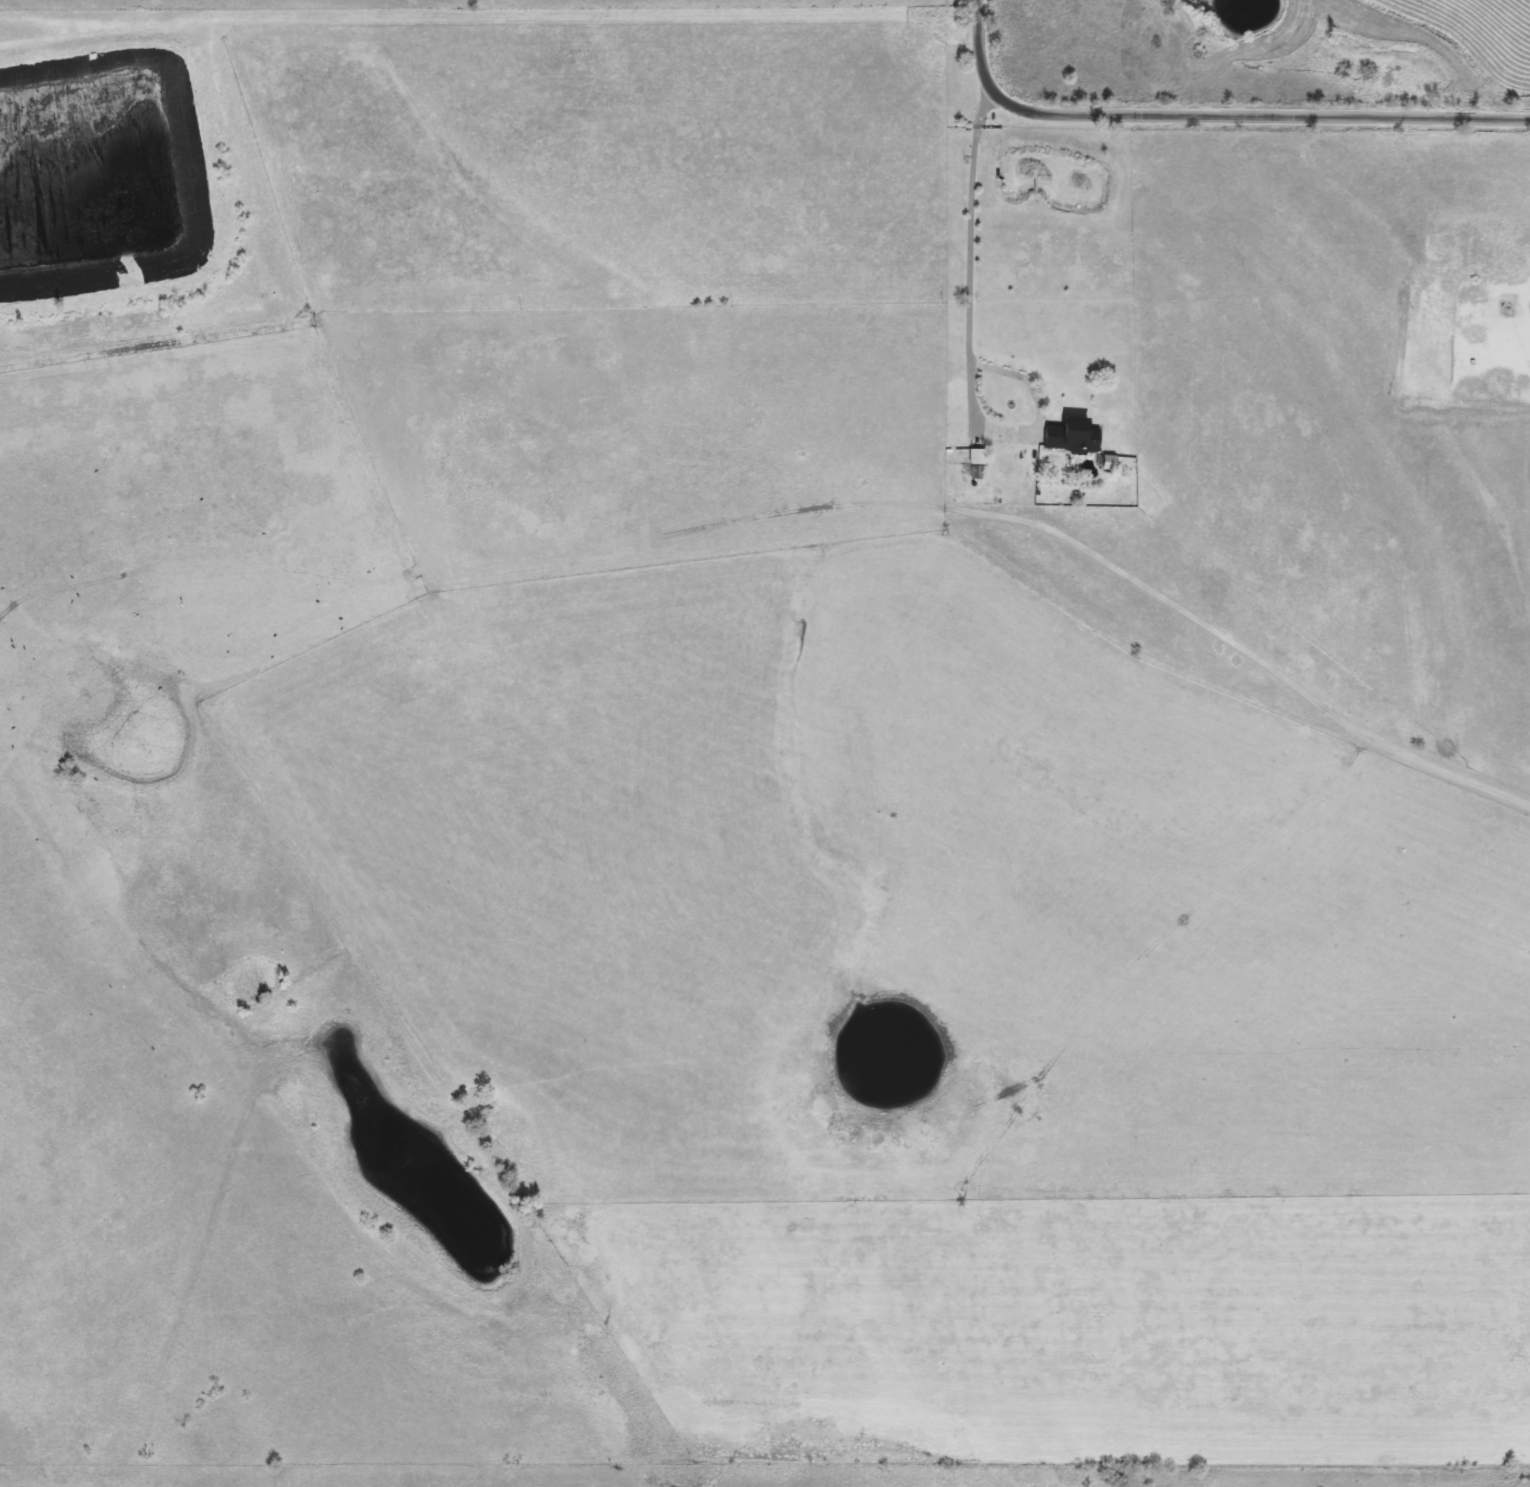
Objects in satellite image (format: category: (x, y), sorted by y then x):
road: (1207, 112)
road: (966, 343)
building: (1068, 436)
building: (974, 457)
road: (1238, 642)

